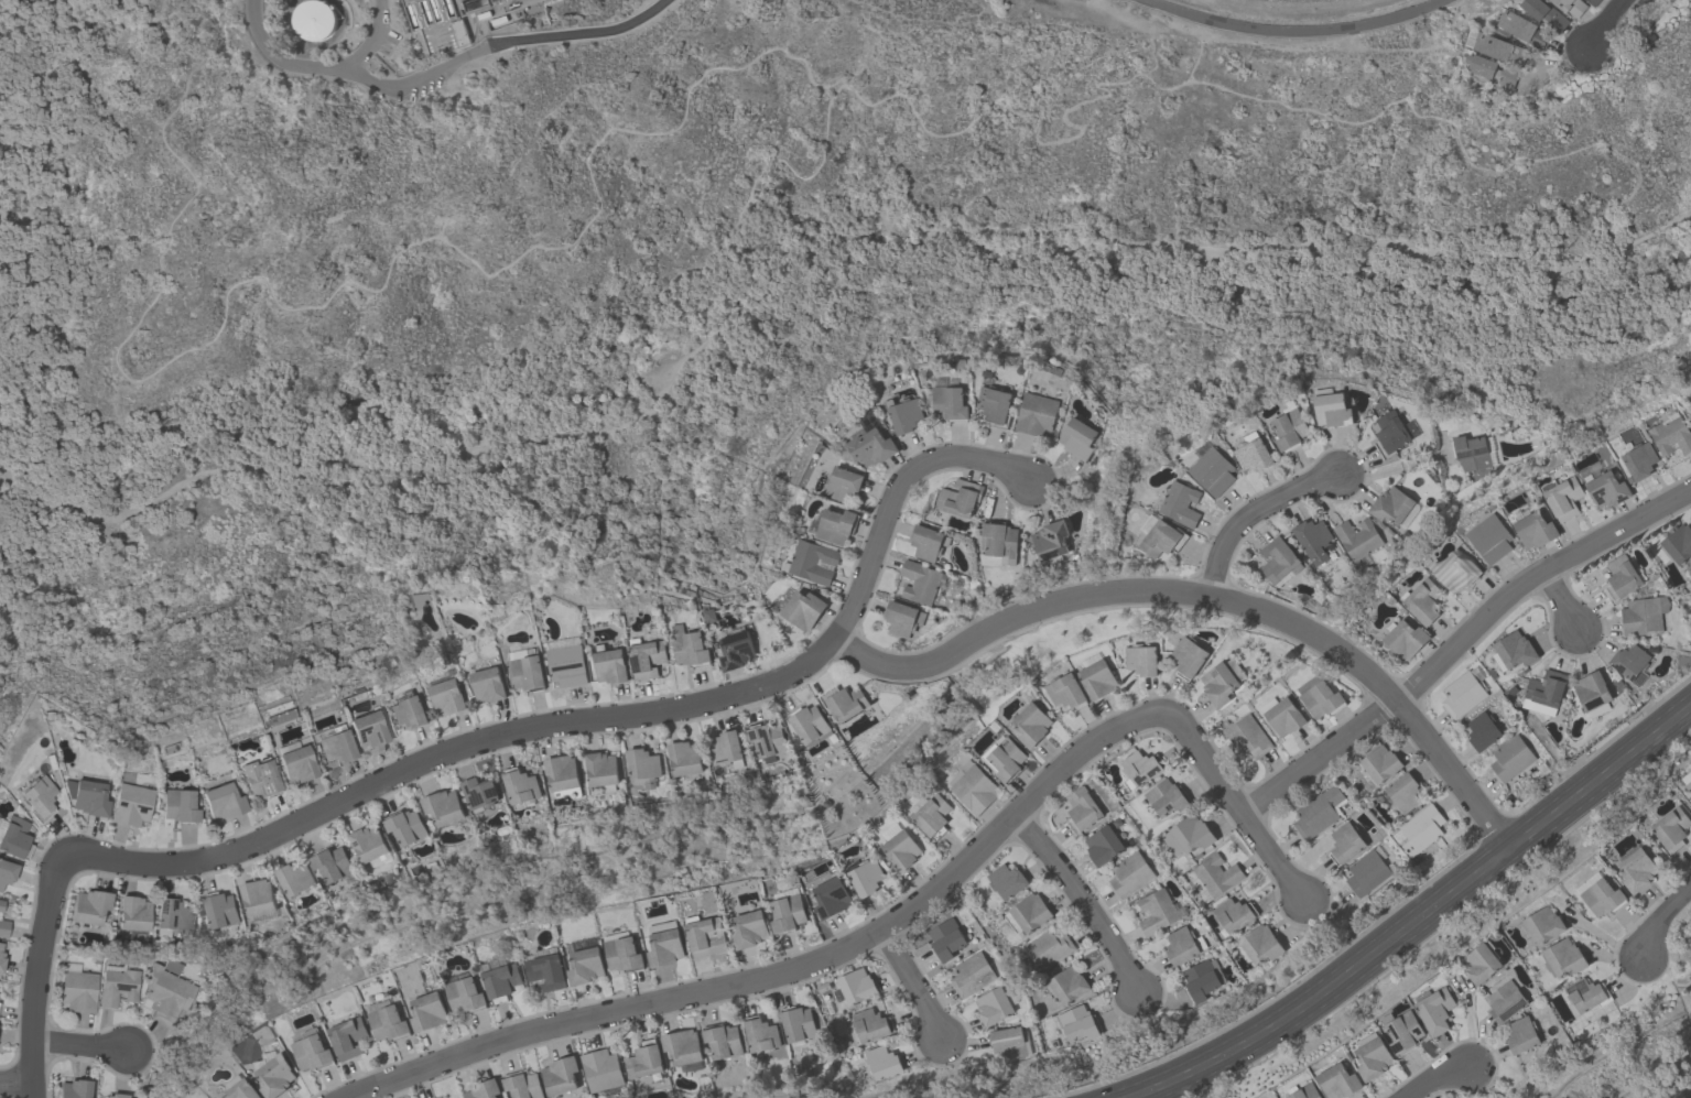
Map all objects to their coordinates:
road: (511, 0)
building: (1594, 2)
building: (28, 4)
building: (1571, 7)
building: (1546, 14)
building: (313, 22)
storage tank: (313, 22)
road: (1603, 24)
building: (1524, 29)
road: (1291, 31)
building: (446, 40)
road: (369, 41)
building: (1500, 48)
road: (99, 50)
road: (449, 70)
building: (1494, 74)
road: (1446, 126)
road: (39, 132)
road: (741, 216)
road: (525, 249)
road: (801, 264)
park: (654, 279)
building: (952, 403)
building: (996, 405)
building: (1335, 412)
building: (1037, 414)
building: (906, 416)
building: (1291, 428)
building: (1392, 433)
building: (1671, 437)
building: (1077, 438)
building: (872, 448)
building: (1472, 453)
building: (1254, 455)
building: (1640, 461)
road: (1391, 469)
building: (1212, 472)
building: (845, 483)
building: (1607, 492)
road: (893, 494)
building: (961, 499)
building: (1565, 500)
building: (1180, 504)
building: (1391, 507)
road: (1249, 514)
building: (837, 526)
building: (1535, 531)
building: (1313, 536)
building: (1160, 540)
building: (1359, 540)
building: (1491, 540)
building: (1051, 541)
building: (928, 543)
building: (1000, 544)
building: (1679, 544)
building: (1278, 561)
building: (813, 563)
building: (1457, 575)
road: (1530, 578)
building: (1624, 578)
building: (921, 585)
road: (1116, 590)
road: (1560, 600)
building: (1424, 604)
building: (804, 611)
building: (1645, 617)
building: (901, 620)
building: (1406, 640)
building: (1514, 650)
building: (691, 651)
building: (735, 651)
building: (1190, 657)
building: (647, 659)
building: (1141, 662)
building: (1629, 662)
building: (567, 666)
building: (611, 666)
building: (528, 674)
building: (1098, 680)
building: (489, 685)
building: (1221, 686)
building: (1547, 689)
building: (1066, 692)
building: (1592, 692)
building: (1463, 695)
building: (447, 698)
building: (1321, 700)
building: (847, 704)
building: (410, 713)
building: (1286, 718)
building: (809, 725)
building: (1033, 725)
building: (368, 729)
building: (1483, 732)
building: (1249, 738)
building: (767, 740)
building: (337, 746)
road: (451, 748)
building: (726, 748)
road: (1319, 755)
building: (1004, 758)
building: (685, 759)
building: (1511, 759)
building: (297, 764)
building: (1380, 764)
building: (644, 765)
building: (601, 771)
building: (1138, 771)
road: (1451, 771)
building: (562, 773)
building: (261, 778)
building: (1687, 781)
building: (520, 787)
building: (973, 787)
building: (479, 793)
building: (1403, 794)
building: (39, 796)
building: (1166, 797)
building: (89, 798)
road: (1232, 798)
building: (224, 803)
building: (132, 804)
building: (180, 806)
building: (443, 806)
building: (1082, 809)
building: (1319, 812)
building: (931, 814)
building: (405, 827)
building: (1671, 829)
building: (1422, 831)
building: (1188, 835)
building: (13, 837)
building: (1347, 842)
building: (369, 844)
building: (1103, 845)
building: (901, 849)
building: (332, 866)
building: (1636, 868)
building: (7, 871)
building: (1129, 873)
building: (1367, 873)
building: (1217, 874)
building: (867, 877)
building: (295, 879)
building: (1007, 880)
building: (832, 896)
building: (1602, 898)
building: (259, 899)
road: (1082, 899)
building: (0, 904)
building: (91, 905)
building: (221, 911)
building: (788, 911)
building: (1156, 911)
building: (134, 912)
building: (1028, 913)
building: (175, 916)
building: (1235, 916)
road: (1660, 917)
road: (1418, 922)
building: (1541, 925)
building: (4, 928)
building: (750, 928)
building: (705, 936)
road: (1604, 937)
building: (947, 938)
building: (664, 944)
building: (1261, 945)
building: (1181, 946)
building: (1048, 948)
building: (621, 952)
road: (1613, 957)
building: (1562, 958)
building: (1, 959)
building: (1481, 964)
building: (585, 966)
road: (35, 968)
building: (545, 971)
road: (781, 972)
building: (972, 975)
building: (1201, 979)
road: (1634, 979)
building: (501, 982)
road: (913, 983)
building: (1067, 985)
building: (120, 986)
building: (823, 987)
building: (854, 987)
building: (79, 991)
building: (465, 993)
building: (164, 996)
building: (1584, 996)
building: (1505, 1001)
building: (994, 1005)
building: (1434, 1010)
building: (427, 1011)
building: (388, 1023)
building: (1077, 1023)
building: (798, 1024)
building: (868, 1026)
building: (1405, 1032)
building: (760, 1035)
building: (1521, 1035)
building: (347, 1037)
building: (723, 1042)
building: (1008, 1042)
road: (78, 1044)
building: (682, 1047)
building: (312, 1051)
building: (1373, 1057)
building: (644, 1059)
building: (881, 1062)
building: (601, 1069)
road: (14, 1075)
building: (561, 1075)
building: (275, 1076)
road: (1435, 1077)
building: (1338, 1081)
building: (523, 1086)
building: (239, 1088)
building: (76, 1089)
building: (484, 1089)
building: (1307, 1092)
building: (117, 1096)

